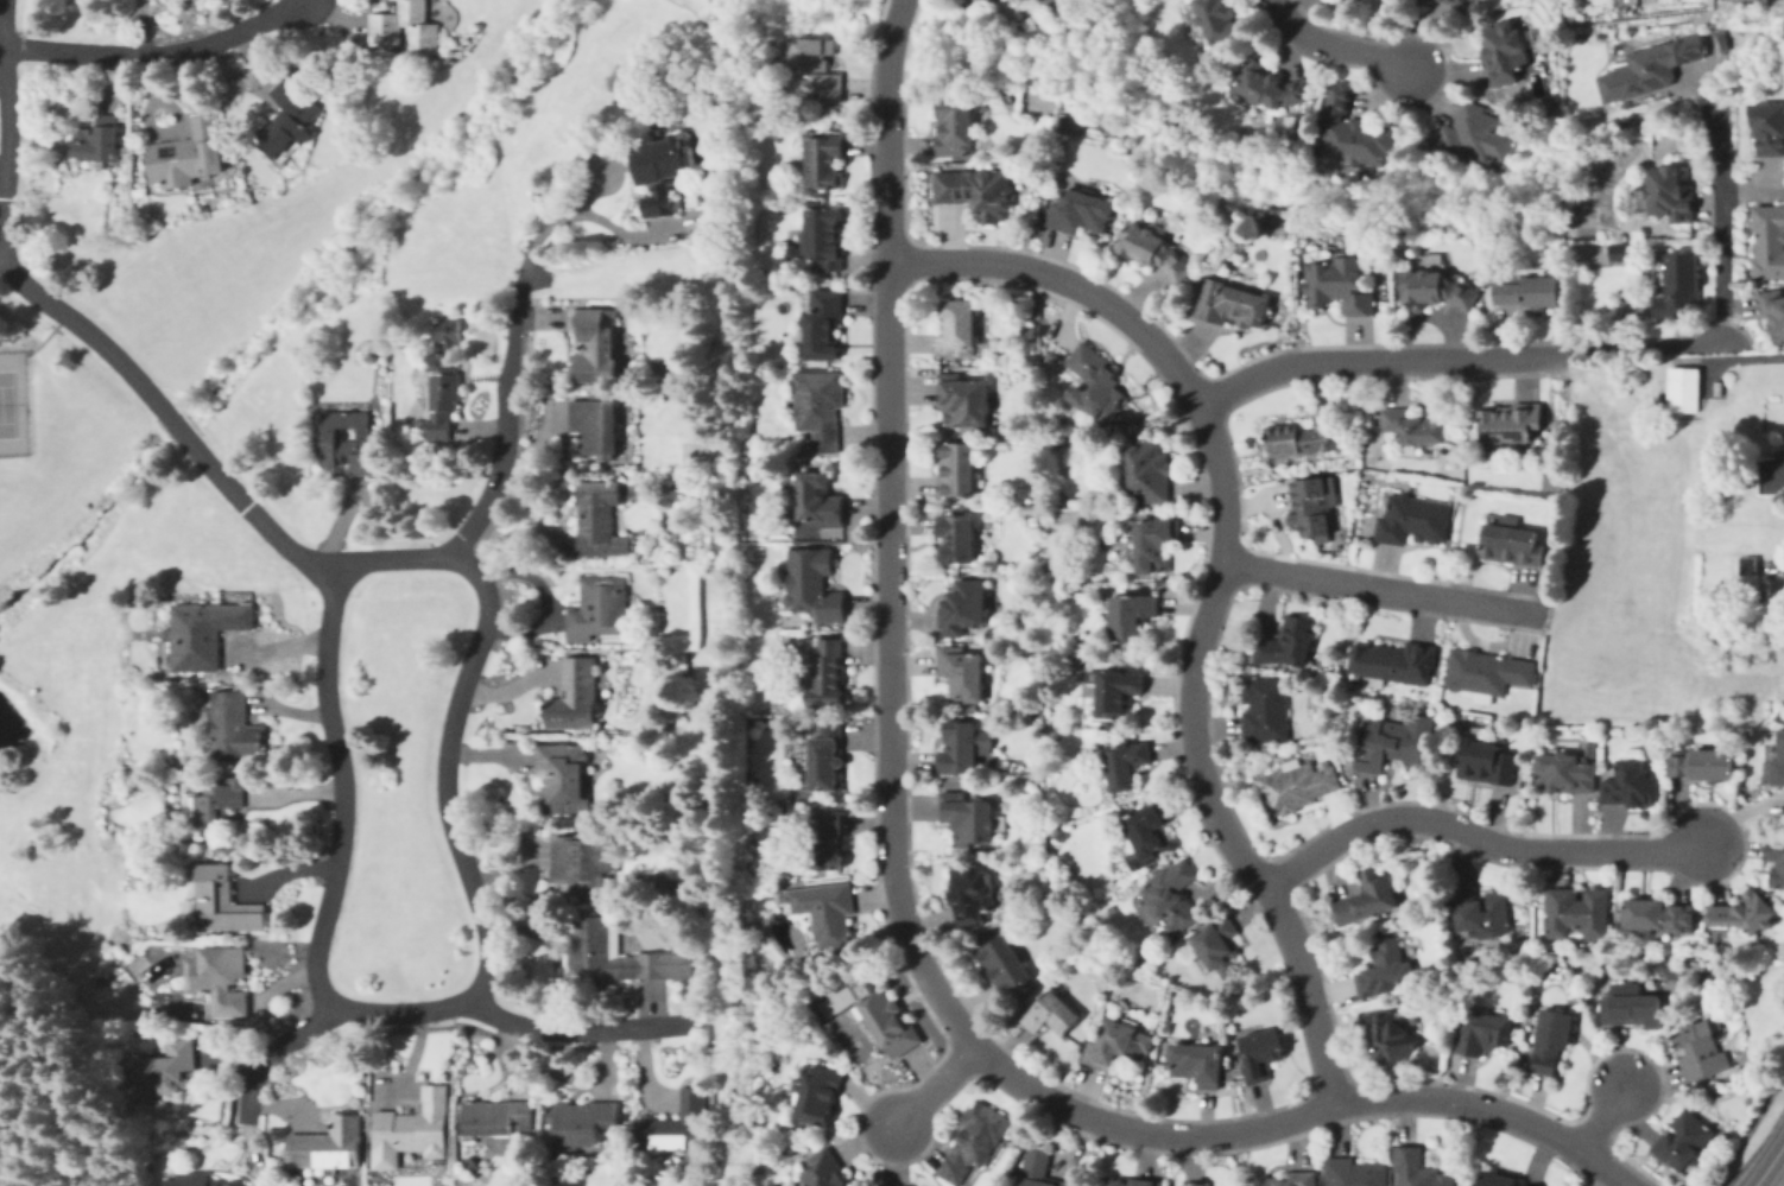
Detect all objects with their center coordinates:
road: (308, 0)
building: (1450, 0)
building: (1353, 1)
building: (985, 2)
building: (1219, 19)
building: (406, 28)
building: (1721, 42)
road: (1333, 46)
road: (160, 49)
building: (1506, 53)
building: (1650, 70)
building: (816, 71)
building: (1276, 88)
building: (291, 115)
building: (961, 127)
building: (1770, 129)
building: (1354, 133)
building: (1466, 138)
building: (97, 140)
building: (189, 154)
building: (824, 159)
building: (662, 173)
building: (980, 191)
building: (1670, 196)
building: (1086, 213)
road: (587, 214)
park: (1586, 222)
building: (822, 240)
building: (1770, 242)
building: (1153, 250)
building: (1620, 252)
road: (2, 260)
building: (1657, 268)
road: (537, 279)
building: (1339, 285)
building: (1681, 288)
building: (1436, 291)
building: (1531, 294)
building: (1233, 304)
road: (1721, 317)
building: (1779, 322)
road: (80, 325)
building: (823, 326)
building: (957, 329)
building: (453, 330)
road: (44, 336)
building: (595, 347)
road: (1369, 359)
building: (1095, 380)
building: (1682, 389)
building: (444, 397)
building: (964, 399)
park: (7, 404)
building: (820, 407)
building: (596, 424)
building: (1511, 424)
building: (1560, 425)
building: (1416, 427)
building: (1305, 438)
building: (347, 439)
building: (956, 470)
building: (1152, 470)
building: (1783, 474)
building: (1551, 480)
building: (818, 500)
building: (1318, 506)
building: (600, 520)
building: (1413, 522)
building: (959, 537)
building: (1514, 543)
building: (1159, 545)
building: (1747, 565)
building: (810, 583)
road: (1220, 584)
road: (1384, 585)
building: (1772, 594)
building: (963, 605)
building: (600, 607)
building: (1131, 616)
road: (485, 619)
building: (204, 633)
building: (1288, 639)
building: (829, 662)
building: (1393, 662)
building: (1487, 668)
building: (962, 670)
building: (1120, 690)
building: (575, 695)
building: (1267, 710)
building: (1778, 717)
building: (234, 727)
building: (1391, 741)
building: (1592, 746)
building: (962, 747)
building: (827, 754)
building: (1486, 757)
building: (1707, 760)
building: (1127, 763)
building: (1777, 763)
building: (1565, 768)
building: (562, 776)
building: (1632, 781)
building: (1301, 786)
building: (215, 805)
road: (341, 811)
building: (972, 818)
building: (1058, 830)
building: (828, 836)
building: (1147, 836)
road: (1478, 836)
building: (1777, 854)
building: (584, 863)
park: (659, 880)
road: (896, 883)
building: (974, 893)
building: (1172, 895)
building: (1369, 898)
building: (224, 901)
building: (1744, 907)
building: (1482, 908)
building: (1579, 908)
building: (825, 913)
building: (1660, 913)
building: (1222, 950)
building: (607, 951)
building: (1004, 959)
building: (1384, 966)
building: (220, 977)
road: (795, 979)
building: (1634, 1007)
building: (1054, 1014)
road: (510, 1017)
building: (891, 1027)
building: (1481, 1032)
building: (1391, 1034)
building: (1552, 1035)
building: (1115, 1046)
building: (1701, 1046)
building: (1263, 1053)
building: (1198, 1064)
building: (171, 1070)
road: (934, 1086)
building: (817, 1093)
building: (499, 1117)
road: (1600, 1117)
building: (582, 1122)
building: (672, 1125)
building: (412, 1129)
building: (1684, 1139)
building: (975, 1141)
building: (328, 1146)
road: (1769, 1165)
building: (1419, 1167)
building: (823, 1169)
building: (1040, 1171)
building: (1354, 1172)
building: (1501, 1178)
building: (203, 1180)
building: (1291, 1180)
building: (1134, 1182)
building: (1198, 1184)
building: (882, 1185)

